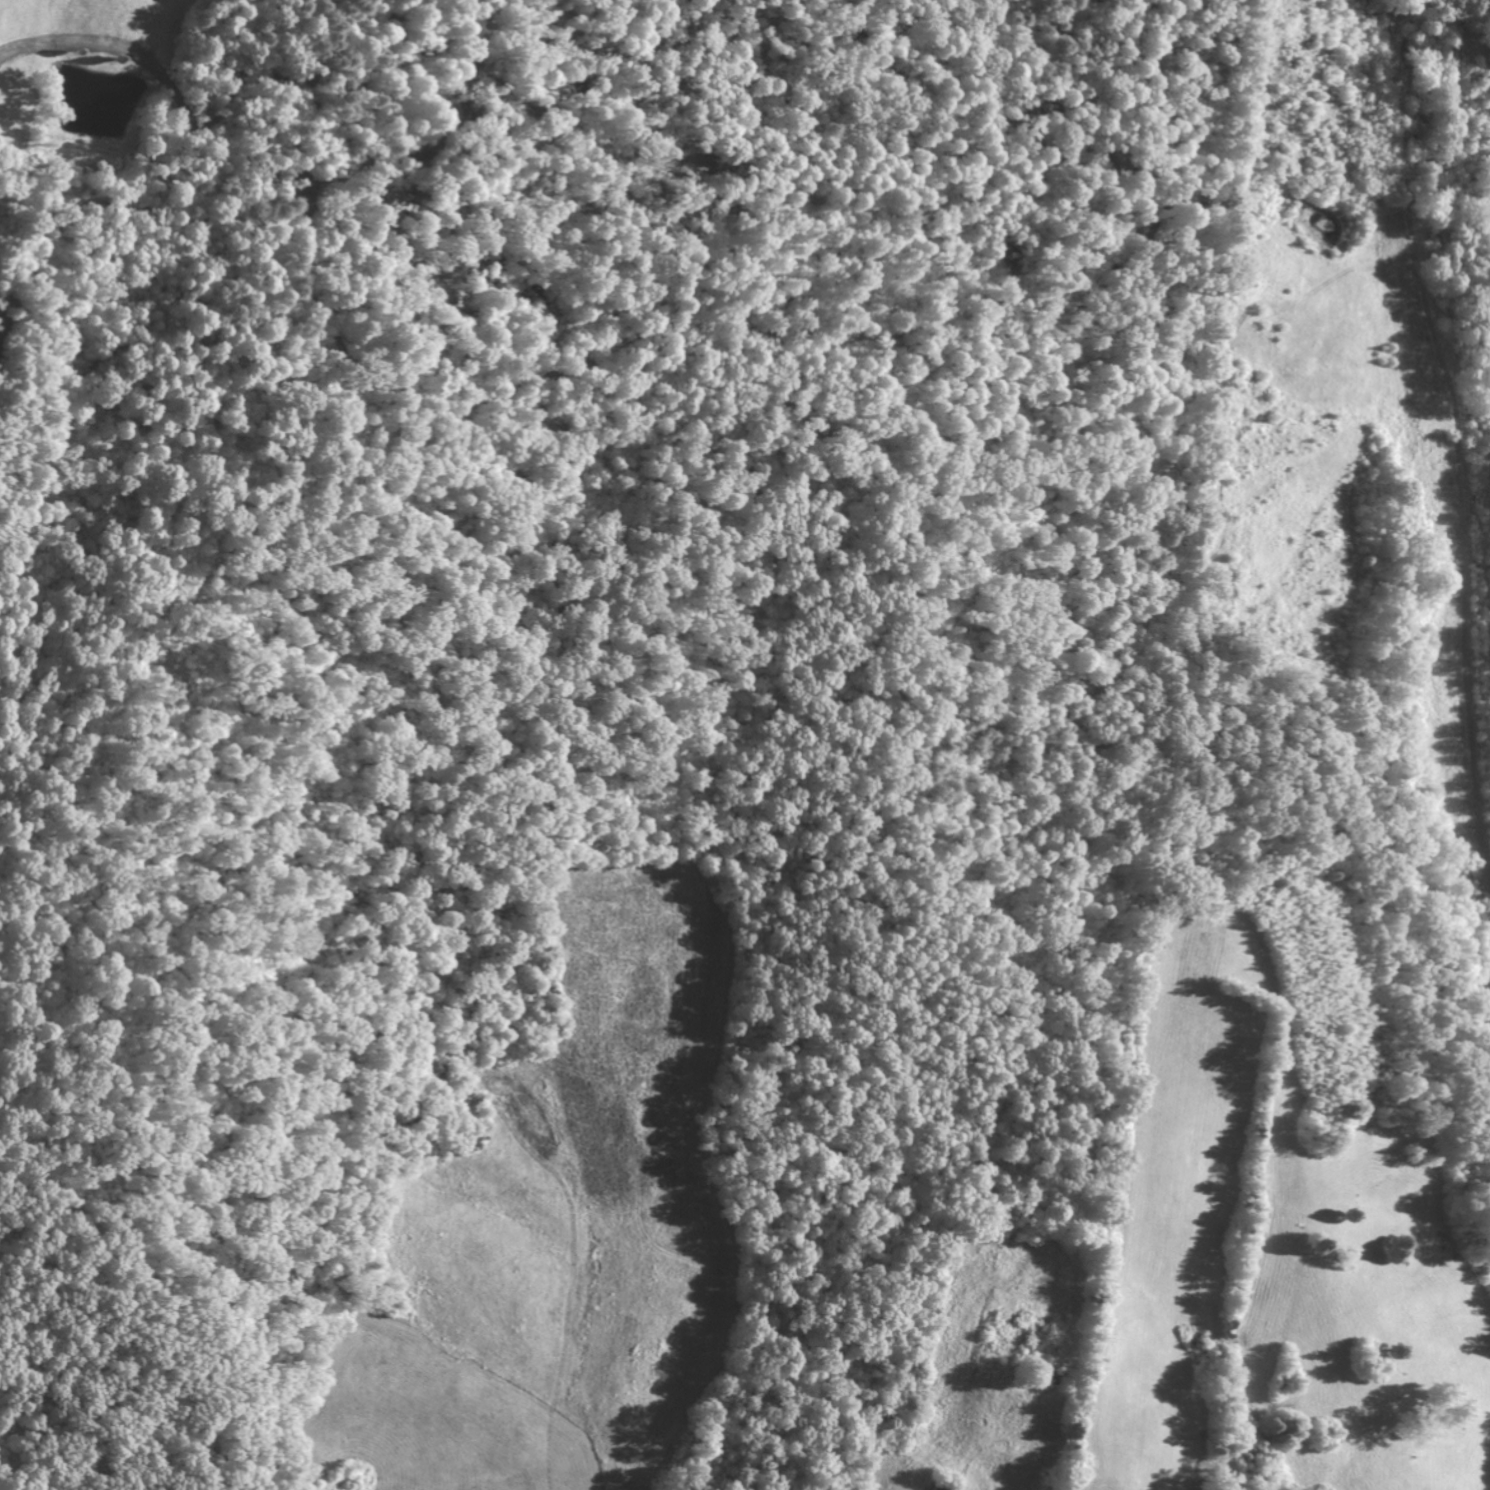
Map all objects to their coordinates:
road: (1316, 868)

